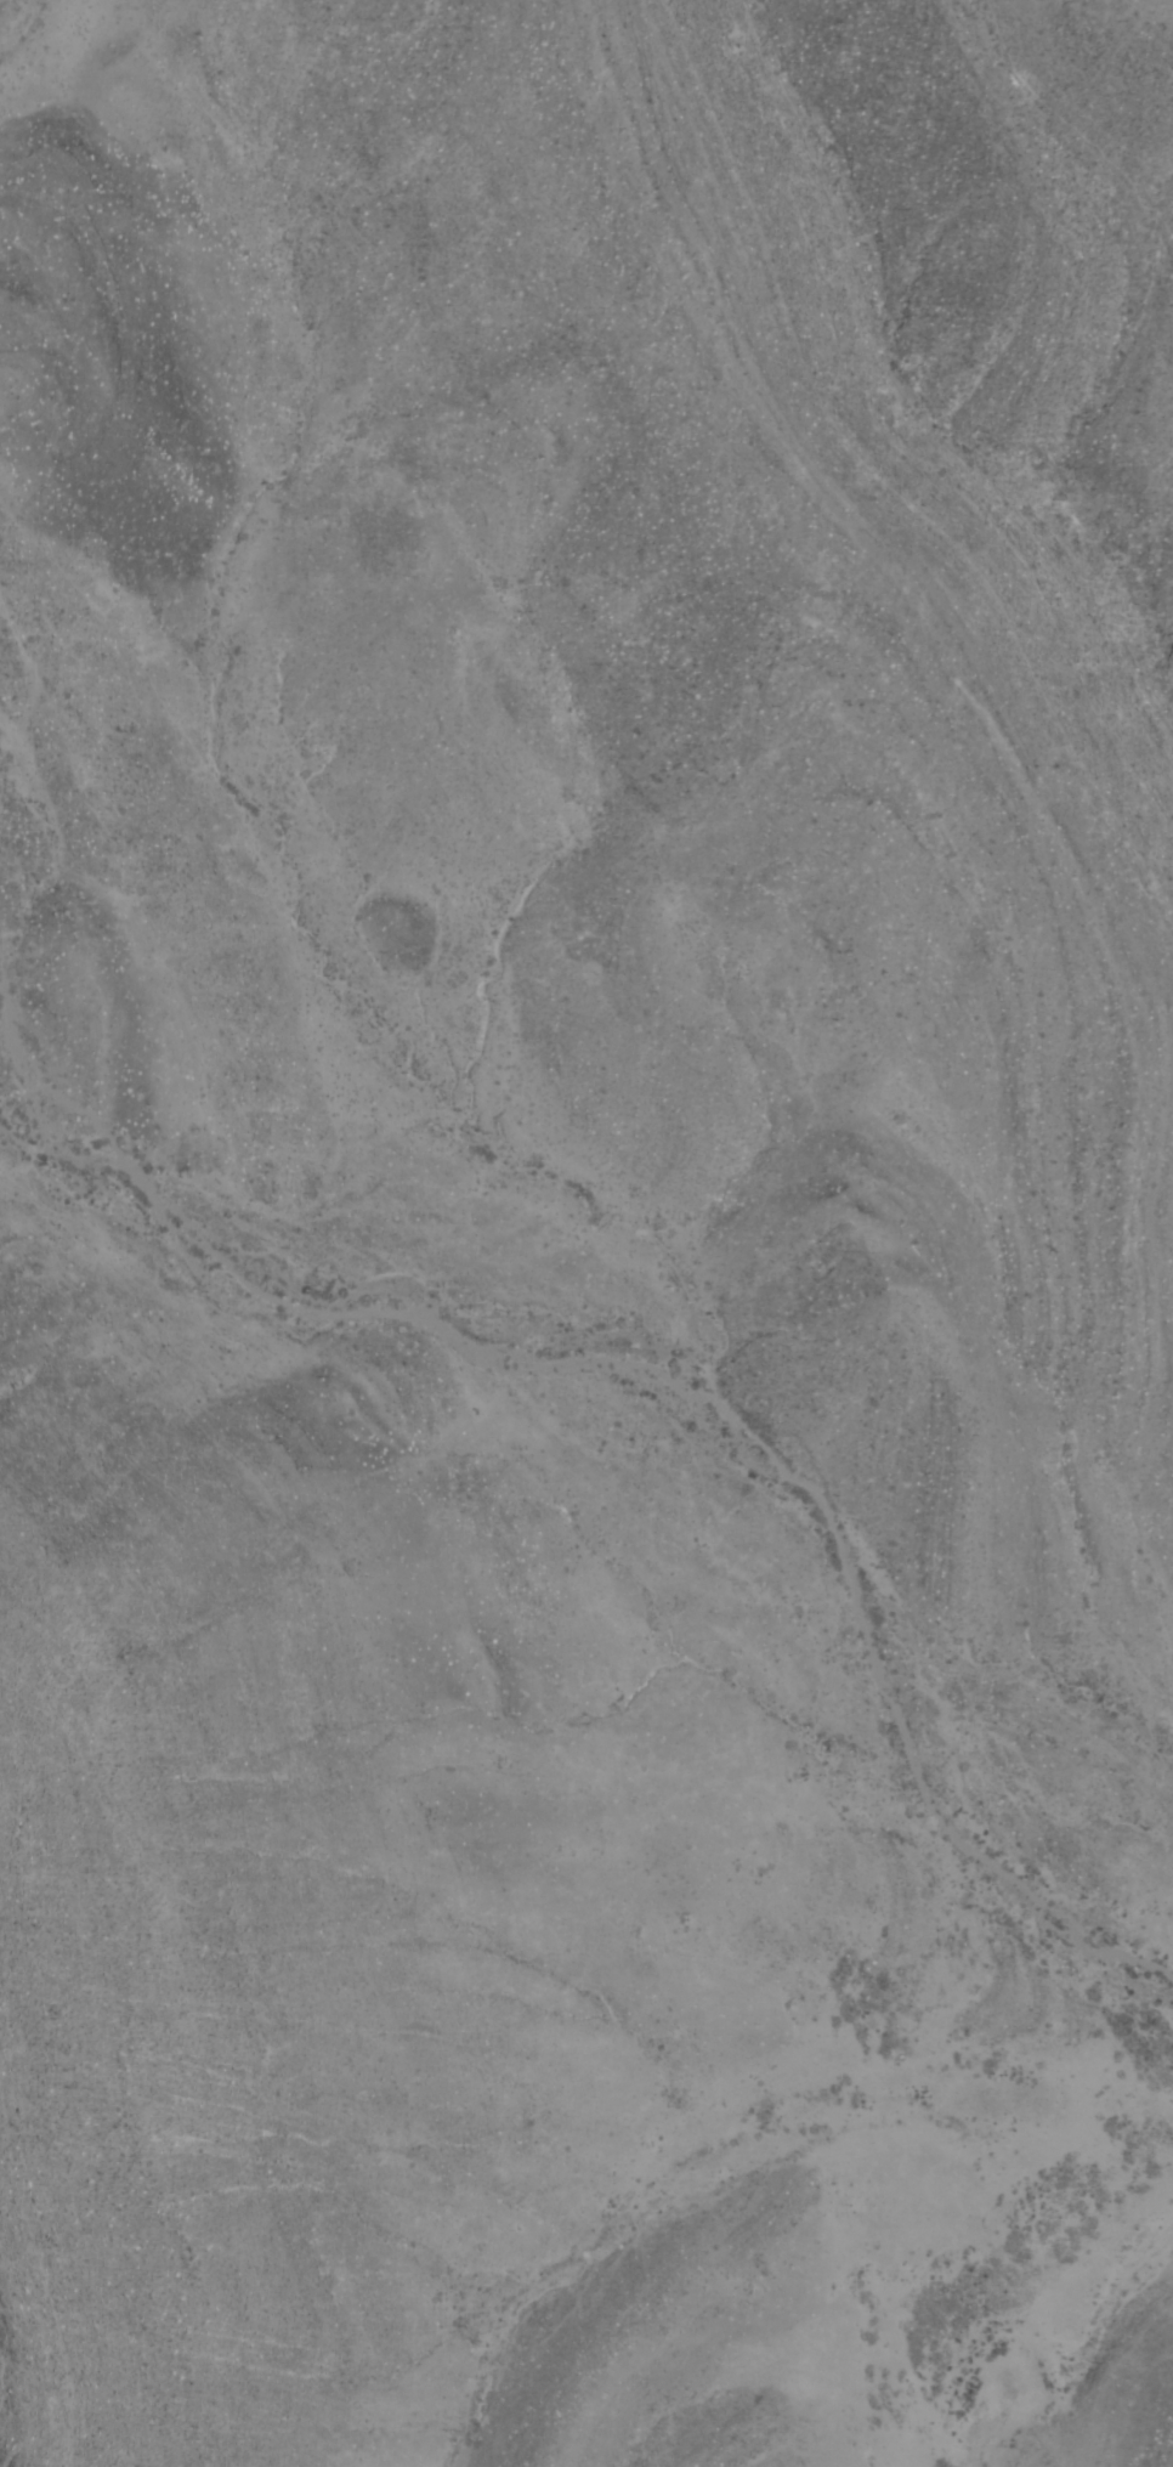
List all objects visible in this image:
dam: (1039, 2352)

